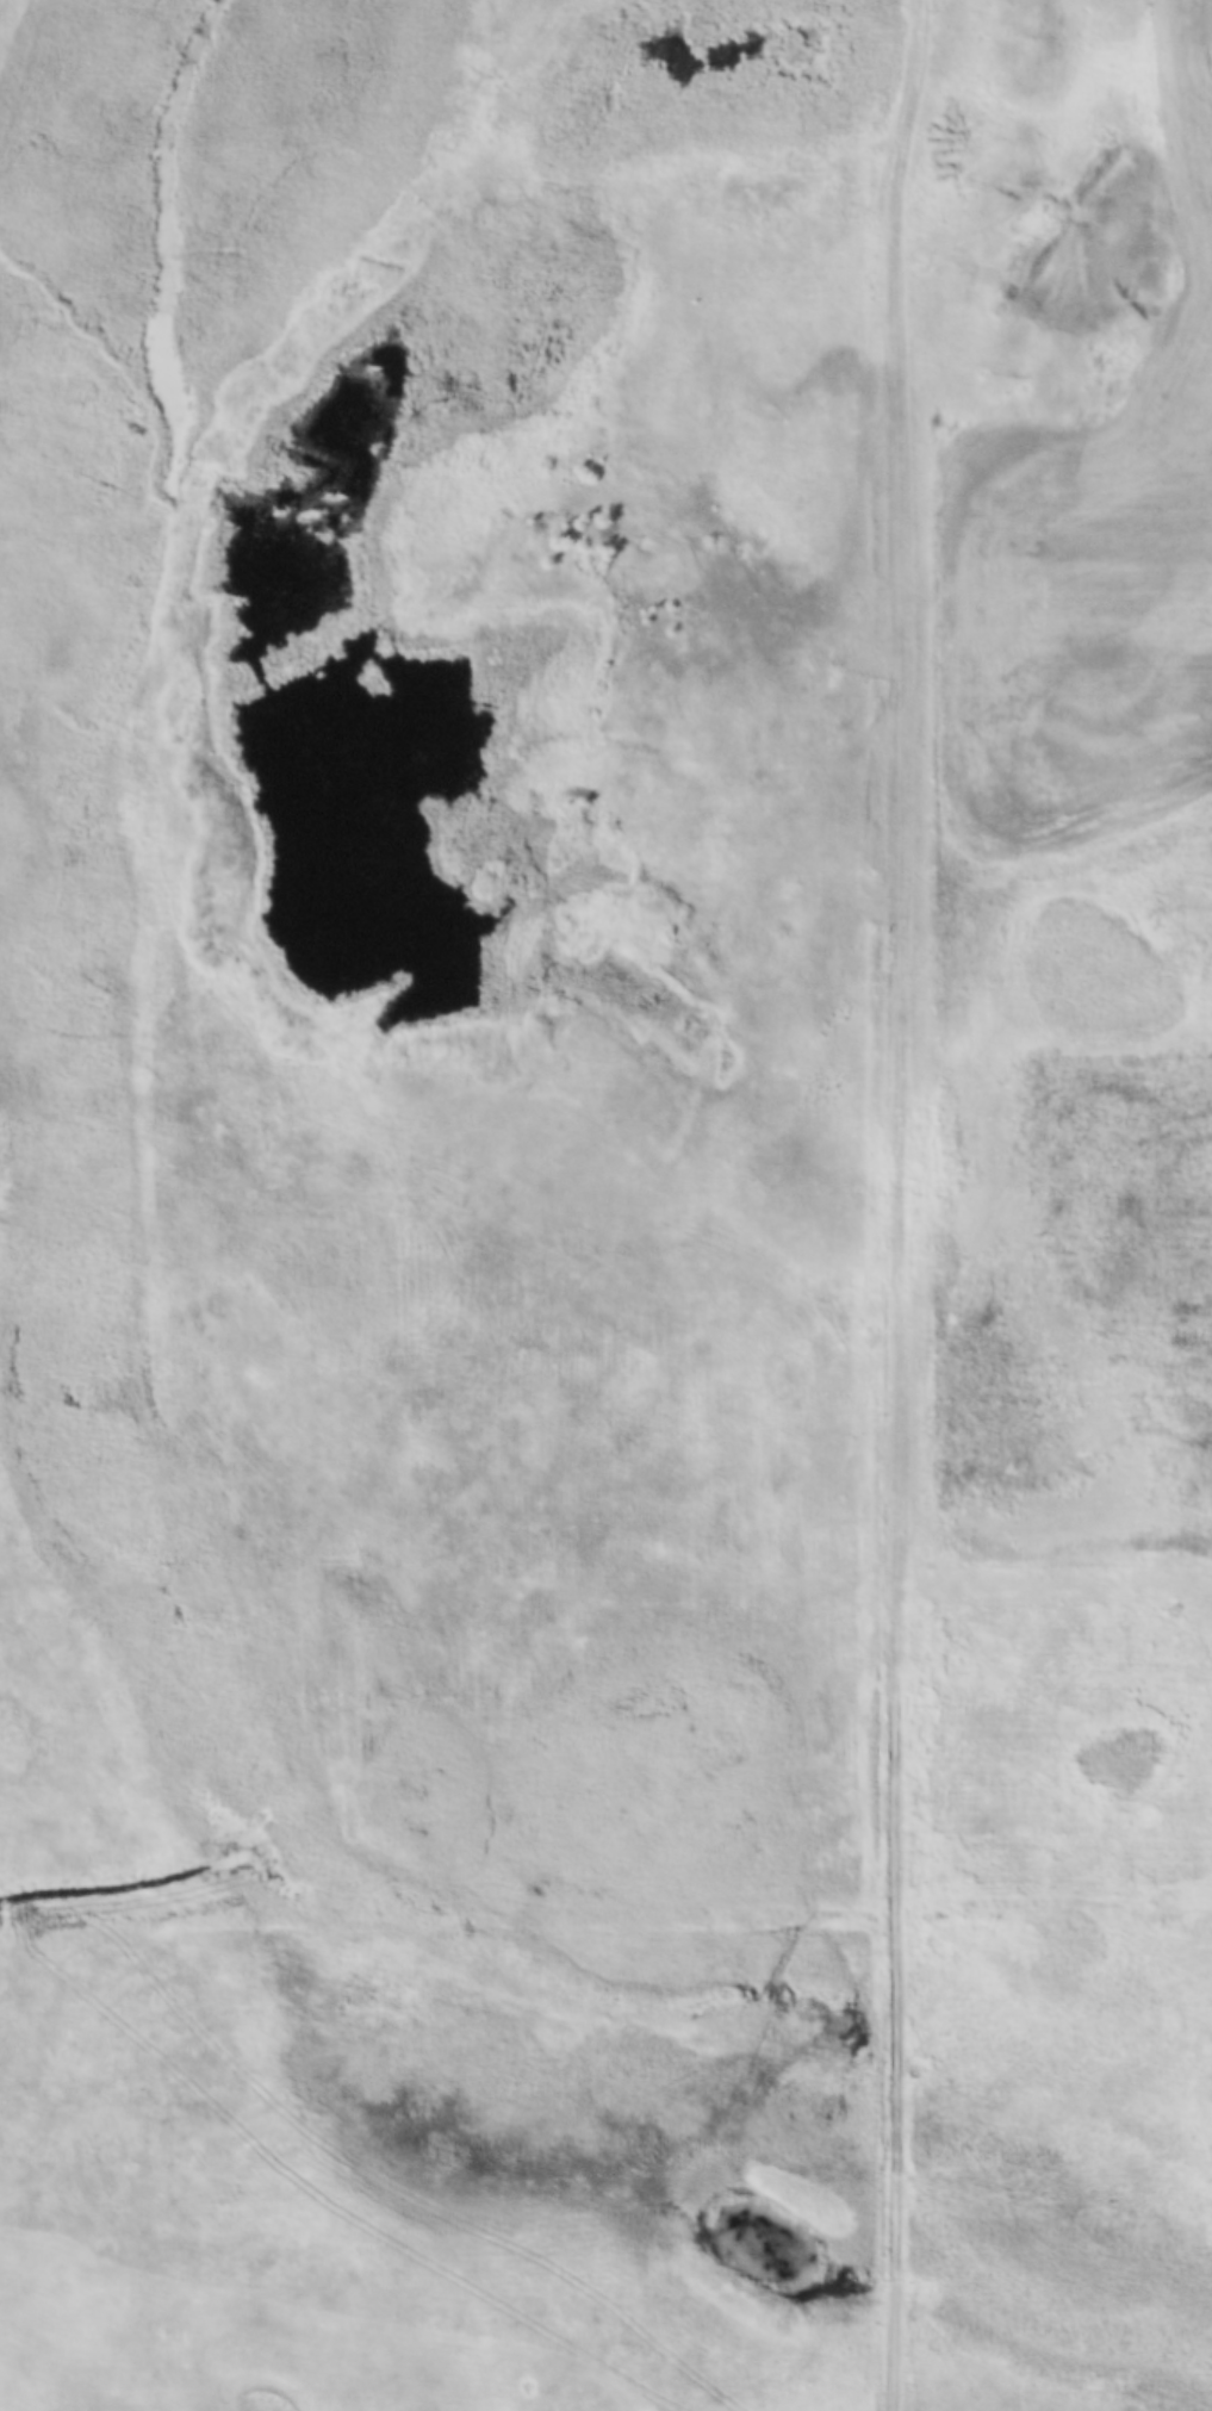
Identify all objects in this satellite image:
road: (903, 1204)

